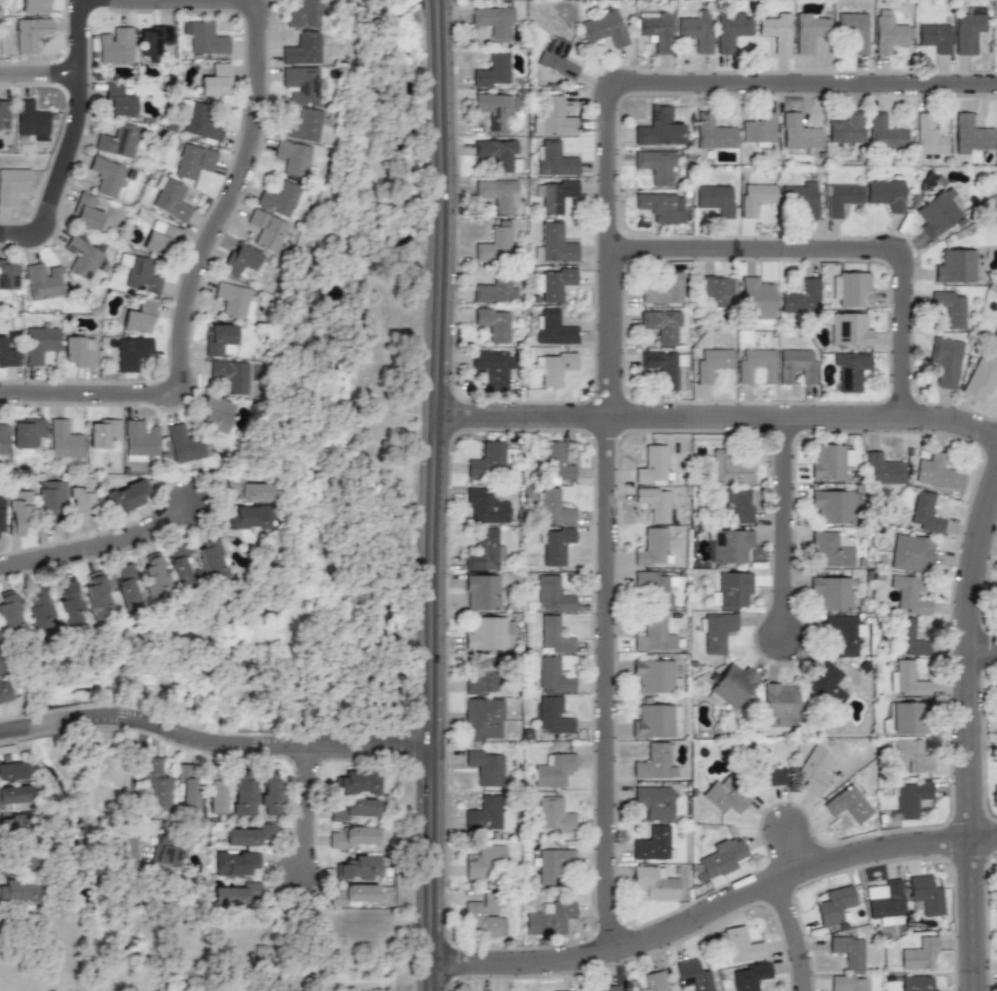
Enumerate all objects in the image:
building: (35, 6)
building: (303, 14)
building: (493, 21)
building: (603, 28)
building: (730, 28)
building: (969, 29)
building: (656, 30)
building: (696, 31)
building: (775, 31)
building: (810, 31)
building: (854, 31)
building: (890, 32)
building: (29, 33)
building: (996, 35)
building: (204, 36)
building: (935, 38)
building: (154, 40)
building: (116, 45)
building: (300, 48)
building: (557, 58)
building: (491, 70)
building: (214, 80)
building: (299, 82)
road: (42, 83)
building: (117, 100)
building: (495, 108)
building: (4, 112)
building: (552, 117)
building: (31, 118)
building: (301, 124)
building: (199, 125)
building: (658, 127)
building: (846, 127)
building: (759, 129)
building: (713, 131)
building: (799, 132)
building: (885, 132)
building: (929, 135)
building: (972, 135)
building: (117, 140)
road: (77, 145)
building: (498, 153)
building: (291, 157)
building: (554, 159)
building: (193, 161)
building: (655, 166)
building: (106, 176)
building: (13, 185)
building: (885, 194)
building: (500, 195)
building: (552, 195)
building: (800, 197)
building: (279, 198)
building: (755, 198)
building: (841, 198)
building: (171, 199)
building: (715, 199)
building: (661, 206)
building: (85, 212)
building: (937, 212)
road: (230, 214)
building: (265, 230)
building: (160, 238)
building: (494, 243)
building: (554, 244)
road: (844, 256)
building: (82, 257)
building: (239, 260)
building: (955, 266)
building: (141, 273)
building: (8, 274)
building: (42, 281)
building: (555, 282)
building: (851, 288)
building: (662, 289)
building: (715, 289)
building: (495, 291)
building: (799, 297)
building: (233, 300)
building: (756, 300)
building: (949, 307)
building: (140, 316)
building: (492, 323)
building: (661, 326)
building: (553, 328)
building: (847, 329)
road: (612, 334)
building: (993, 337)
building: (219, 340)
building: (39, 343)
building: (79, 351)
building: (8, 353)
building: (131, 353)
building: (944, 361)
building: (712, 363)
building: (796, 365)
building: (493, 366)
building: (755, 366)
building: (553, 367)
building: (663, 367)
building: (849, 371)
building: (229, 375)
building: (981, 375)
building: (214, 413)
road: (717, 426)
building: (26, 431)
building: (103, 433)
building: (3, 437)
building: (64, 438)
building: (139, 439)
building: (184, 445)
building: (491, 459)
building: (826, 460)
building: (555, 464)
building: (653, 465)
building: (882, 467)
building: (728, 468)
building: (937, 472)
building: (251, 489)
road: (434, 495)
building: (124, 496)
building: (80, 500)
building: (50, 502)
building: (654, 503)
building: (833, 505)
building: (484, 506)
building: (551, 506)
building: (737, 506)
building: (19, 510)
building: (924, 512)
building: (248, 517)
building: (1, 518)
road: (787, 538)
building: (554, 544)
building: (726, 546)
building: (653, 547)
building: (484, 549)
building: (828, 549)
building: (910, 552)
road: (104, 558)
building: (212, 559)
building: (180, 566)
building: (154, 577)
building: (126, 586)
building: (658, 586)
building: (734, 589)
building: (481, 591)
building: (832, 592)
building: (551, 594)
building: (909, 594)
building: (995, 594)
building: (97, 596)
building: (68, 602)
building: (40, 607)
building: (9, 614)
building: (715, 631)
building: (488, 632)
building: (654, 633)
building: (843, 633)
building: (554, 634)
building: (908, 637)
road: (984, 660)
building: (552, 675)
building: (655, 675)
building: (484, 676)
building: (906, 679)
building: (826, 682)
building: (731, 686)
building: (4, 692)
building: (778, 697)
building: (995, 702)
building: (553, 715)
building: (907, 717)
building: (483, 719)
building: (655, 720)
road: (972, 745)
road: (214, 753)
building: (910, 754)
building: (654, 762)
building: (485, 765)
building: (553, 769)
building: (13, 770)
building: (815, 770)
building: (768, 771)
building: (358, 781)
building: (156, 784)
building: (187, 788)
road: (133, 793)
building: (215, 793)
building: (270, 794)
building: (242, 795)
building: (14, 796)
building: (725, 796)
building: (911, 796)
building: (655, 802)
building: (847, 804)
building: (355, 810)
road: (313, 814)
building: (485, 814)
building: (553, 815)
building: (13, 824)
building: (250, 835)
building: (353, 837)
building: (653, 843)
building: (165, 851)
road: (796, 854)
building: (721, 858)
building: (17, 861)
building: (485, 861)
building: (234, 863)
building: (553, 865)
building: (359, 868)
building: (697, 873)
building: (655, 883)
building: (15, 891)
building: (996, 891)
building: (237, 892)
building: (353, 894)
building: (924, 895)
building: (490, 901)
building: (886, 901)
building: (834, 904)
building: (550, 918)
building: (479, 920)
road: (716, 921)
road: (796, 940)
building: (740, 944)
building: (847, 952)
building: (919, 953)
building: (692, 976)
building: (749, 976)
road: (418, 980)
building: (653, 982)
building: (846, 983)
building: (918, 983)
building: (603, 988)

